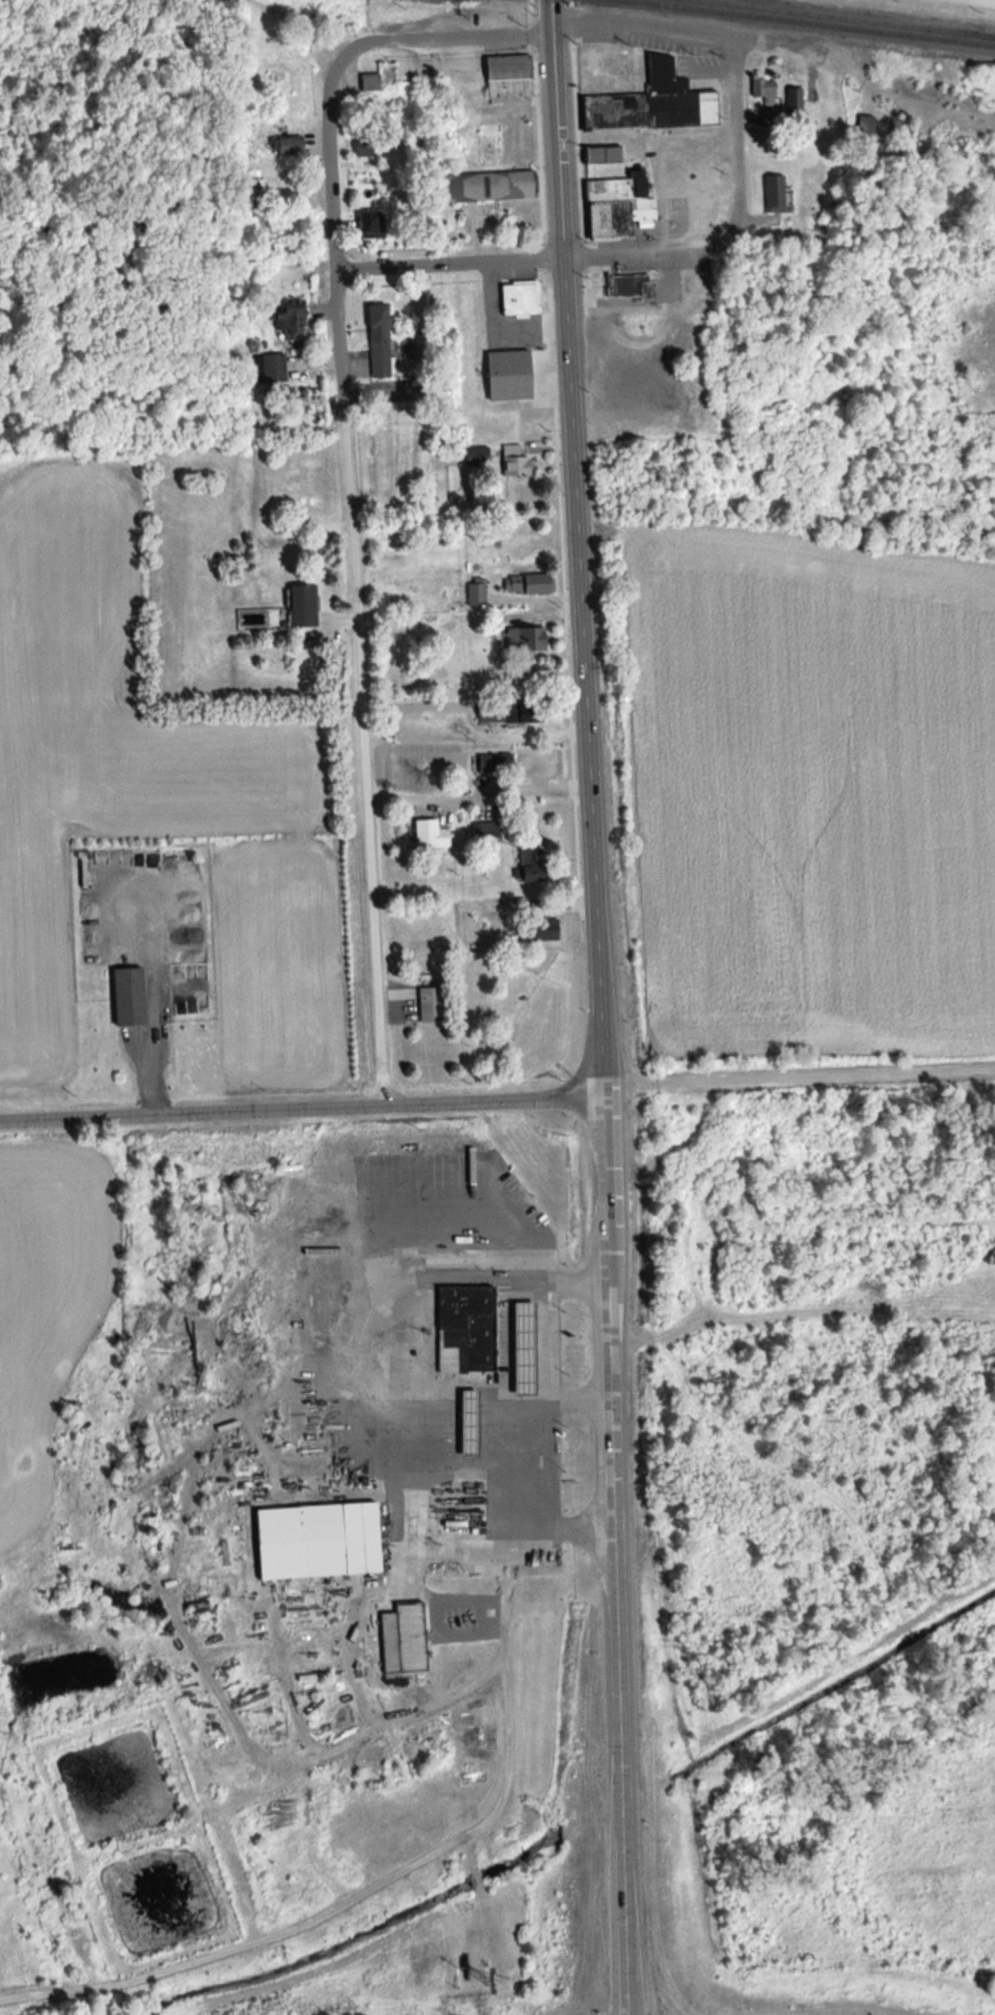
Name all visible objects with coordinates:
railway: (843, 18)
railway: (807, 23)
road: (690, 33)
railway: (987, 36)
road: (443, 40)
building: (505, 75)
building: (368, 85)
building: (764, 90)
building: (651, 103)
building: (794, 105)
building: (499, 138)
building: (286, 145)
building: (600, 155)
building: (485, 186)
building: (772, 193)
building: (615, 205)
building: (369, 224)
road: (631, 252)
building: (627, 285)
building: (518, 299)
building: (289, 325)
building: (376, 340)
building: (267, 368)
building: (505, 375)
building: (474, 456)
building: (512, 461)
road: (573, 548)
road: (351, 578)
building: (526, 584)
building: (300, 606)
building: (520, 639)
building: (509, 712)
building: (490, 763)
road: (474, 793)
building: (483, 830)
building: (427, 835)
building: (529, 861)
building: (539, 930)
building: (125, 997)
building: (428, 1005)
road: (301, 1107)
building: (467, 1325)
building: (519, 1346)
road: (552, 1369)
road: (402, 1388)
building: (463, 1420)
road: (524, 1456)
building: (315, 1541)
road: (612, 1555)
building: (401, 1639)
river: (832, 1689)
road: (391, 1718)
river: (612, 1806)
road: (324, 1906)
river: (350, 1925)

